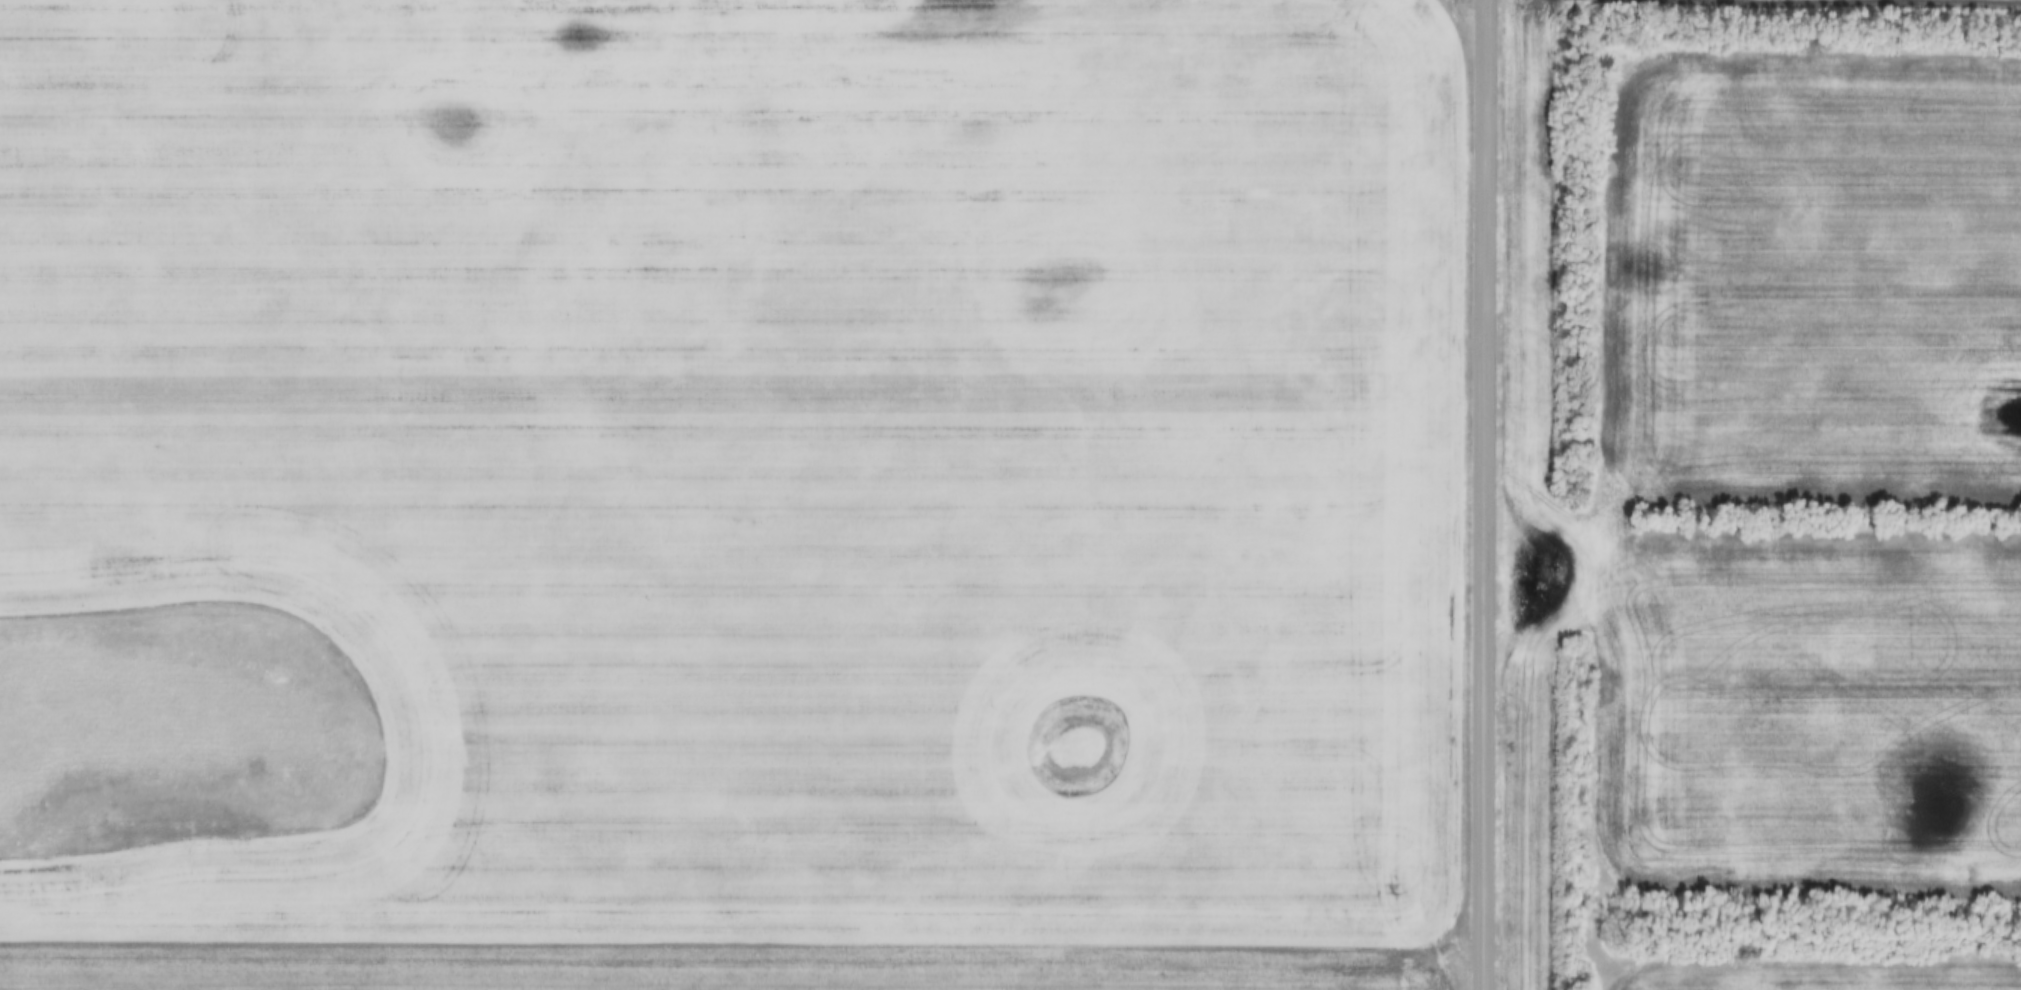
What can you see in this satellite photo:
road: (1488, 495)

